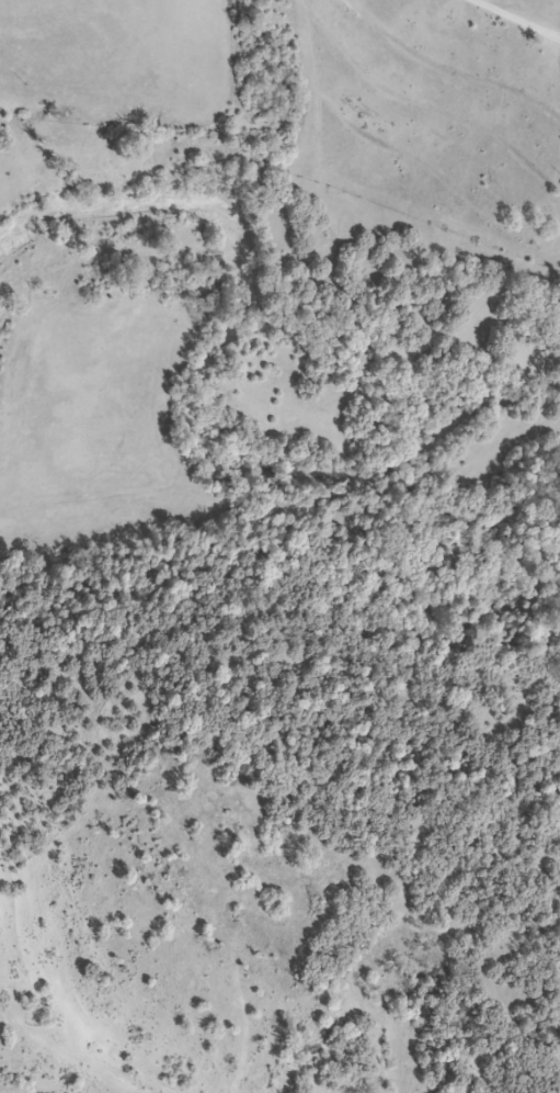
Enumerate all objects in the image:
road: (533, 13)

